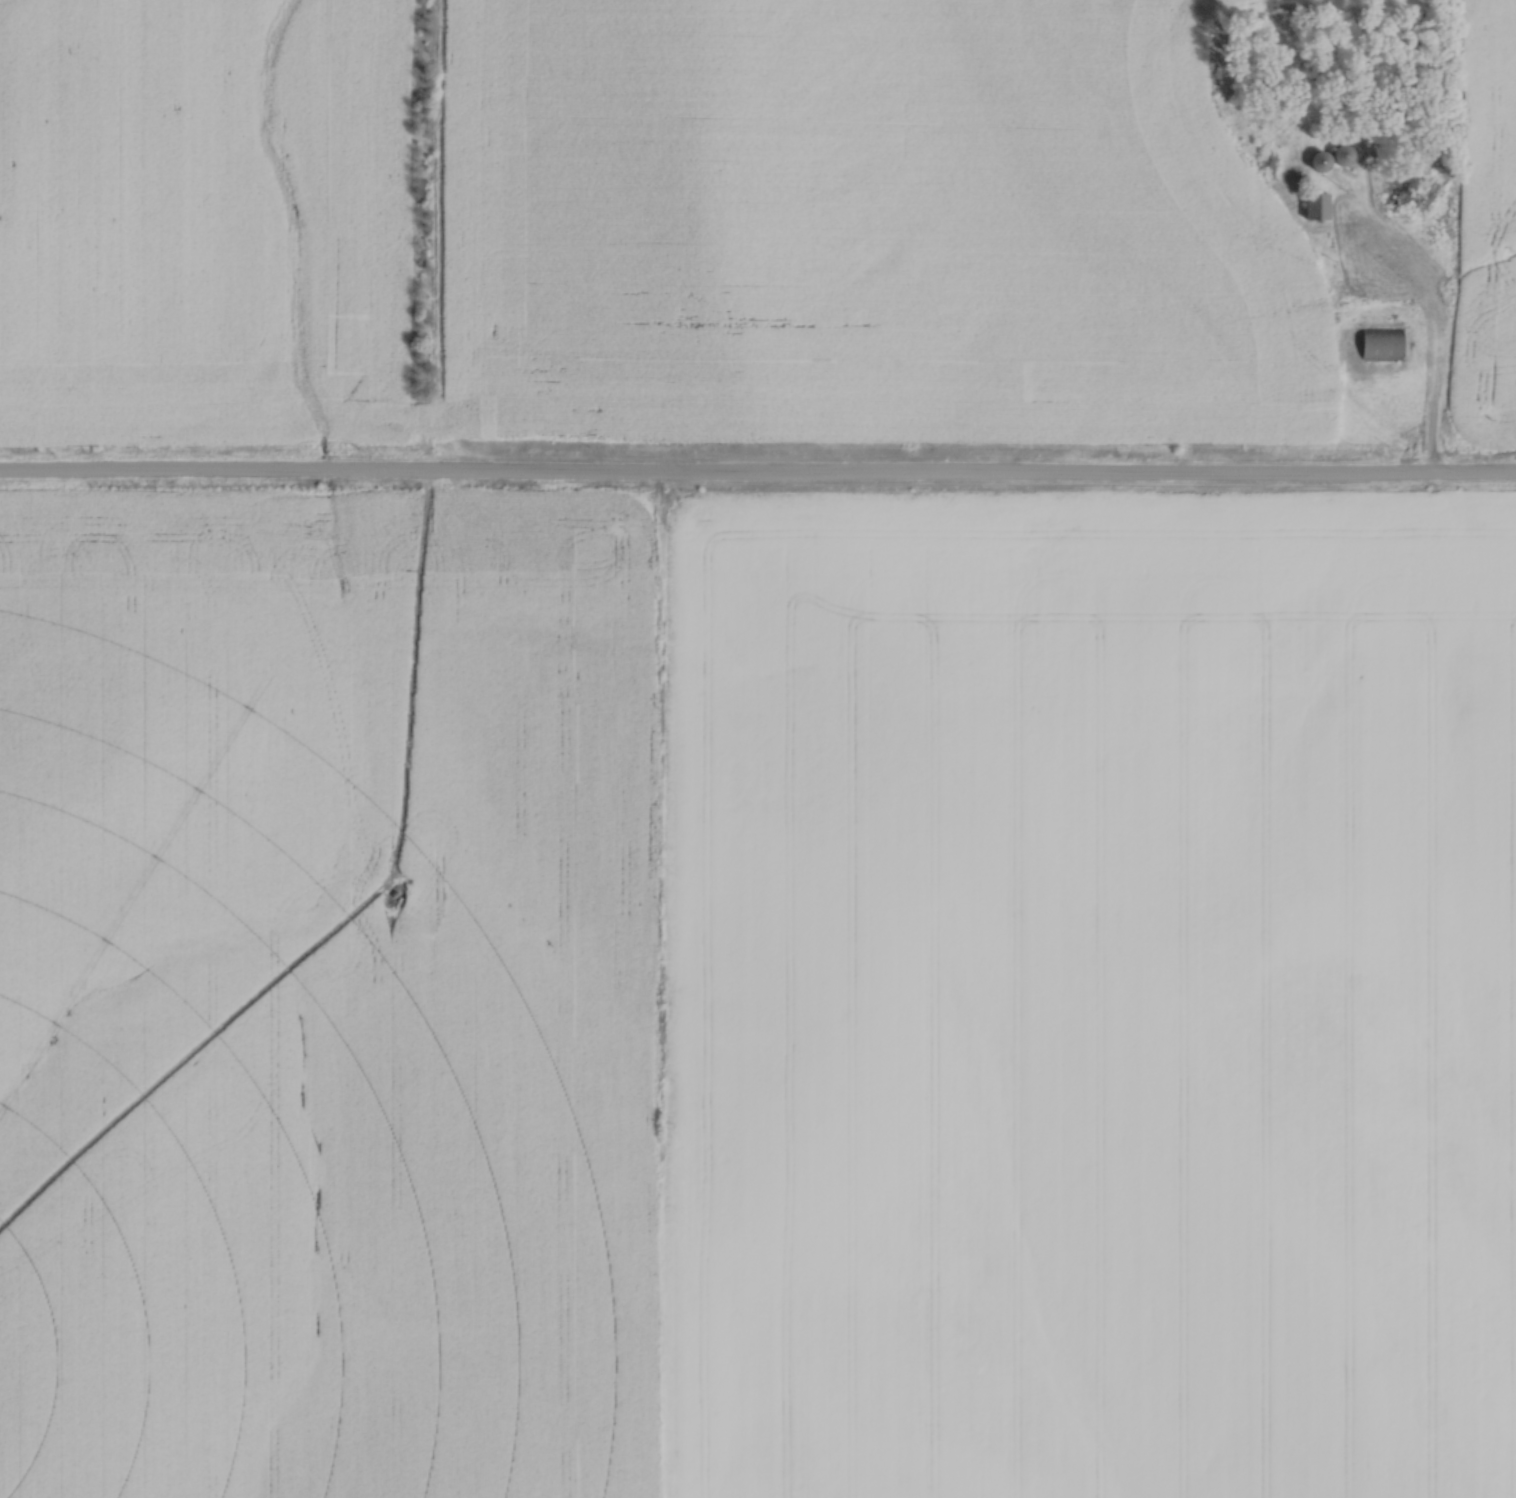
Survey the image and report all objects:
building: (1327, 157)
building: (1313, 204)
road: (1438, 336)
building: (1377, 341)
road: (758, 479)

